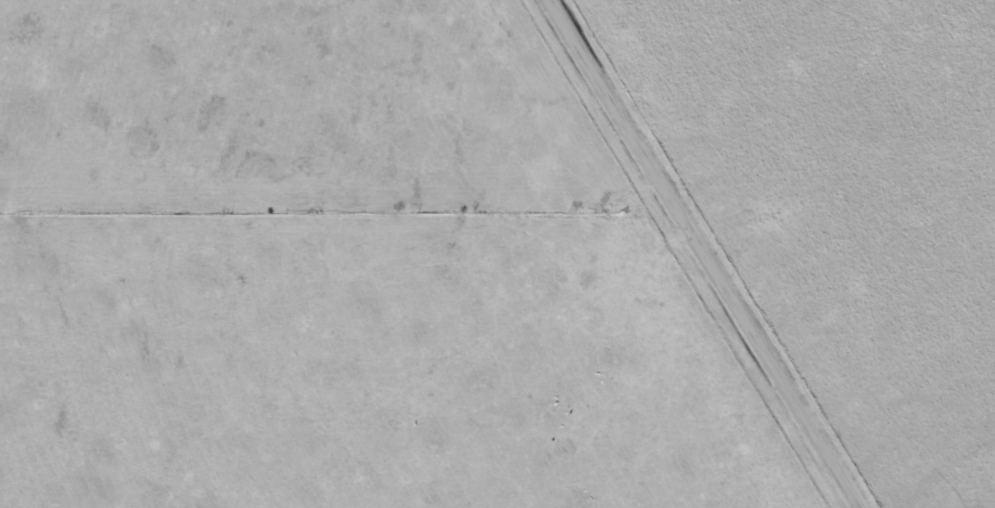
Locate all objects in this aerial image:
road: (697, 254)

